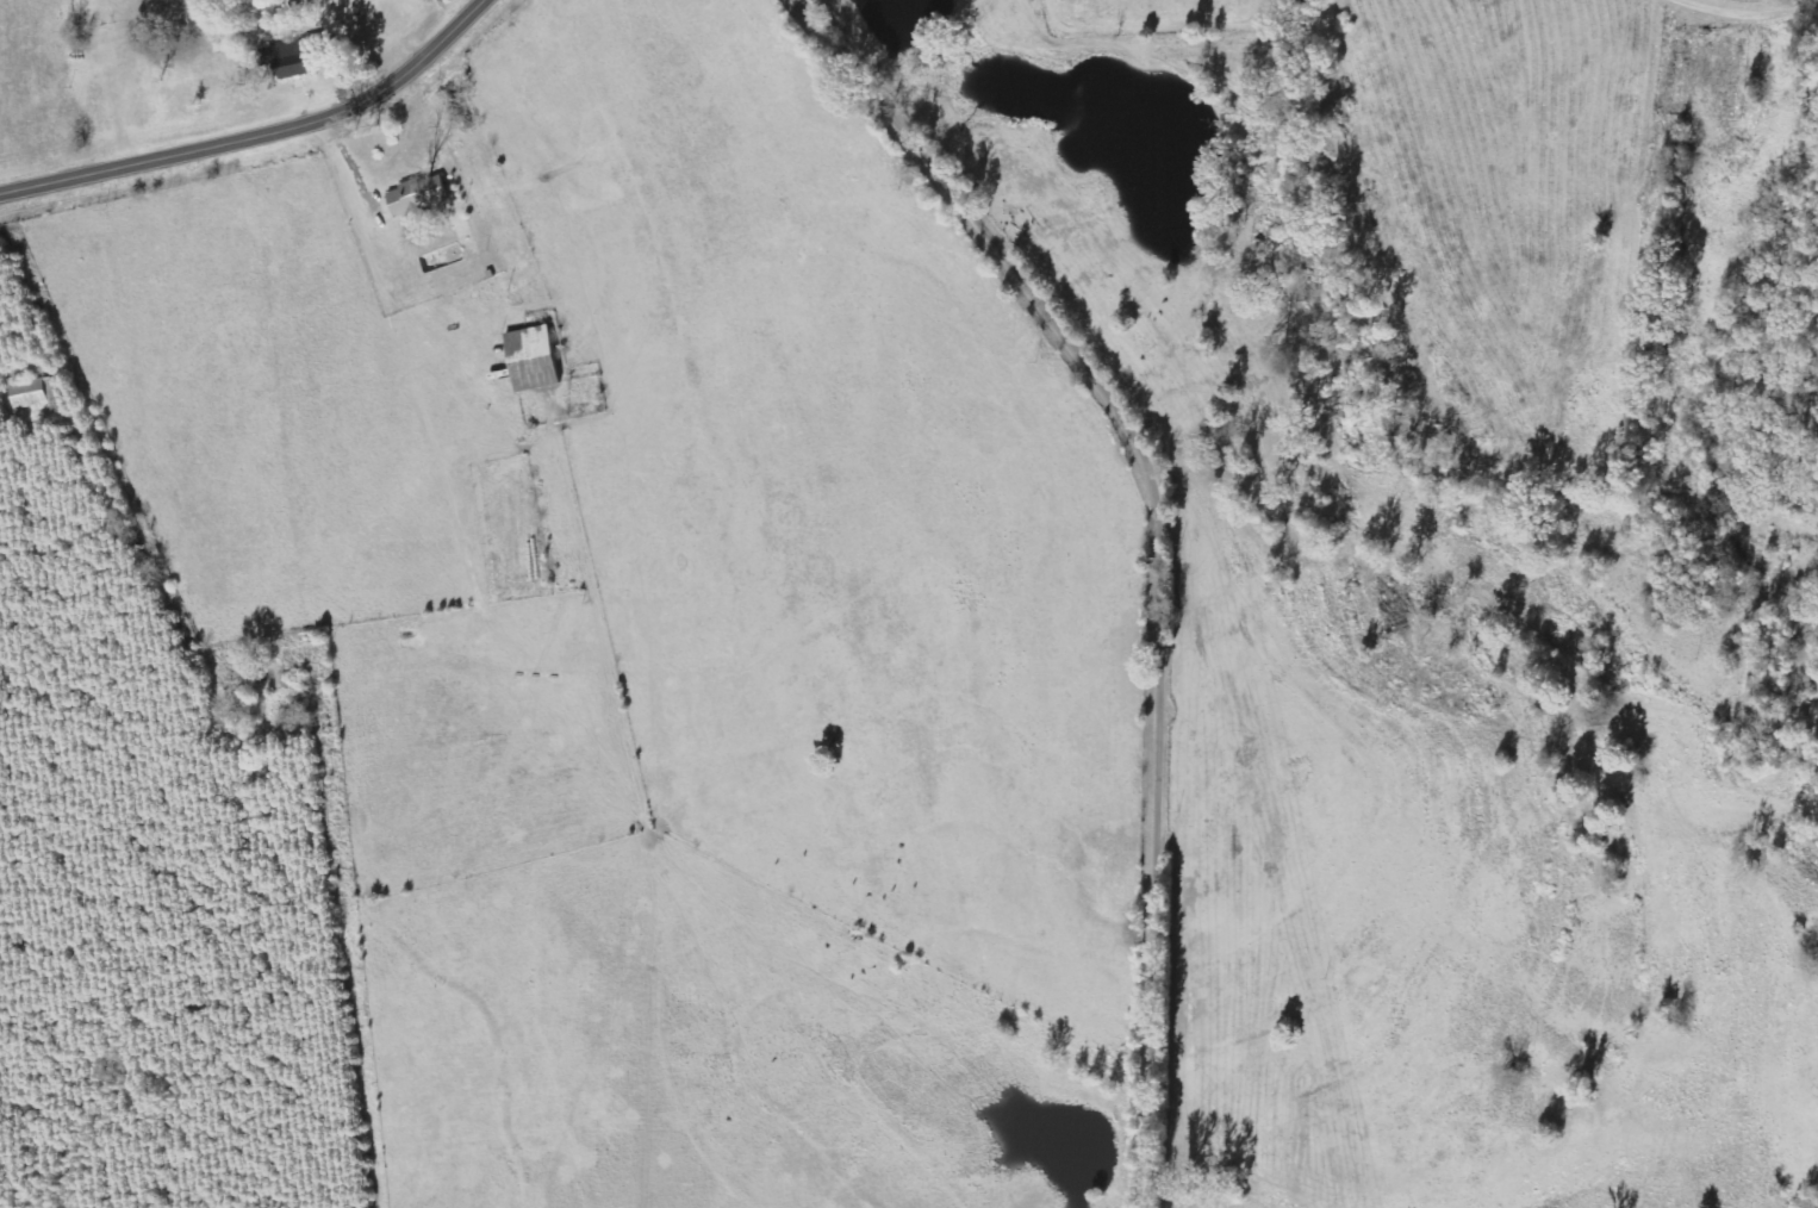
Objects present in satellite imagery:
building: (294, 57)
road: (259, 136)
building: (418, 195)
building: (534, 359)
building: (50, 390)
building: (29, 394)
road: (1171, 544)

